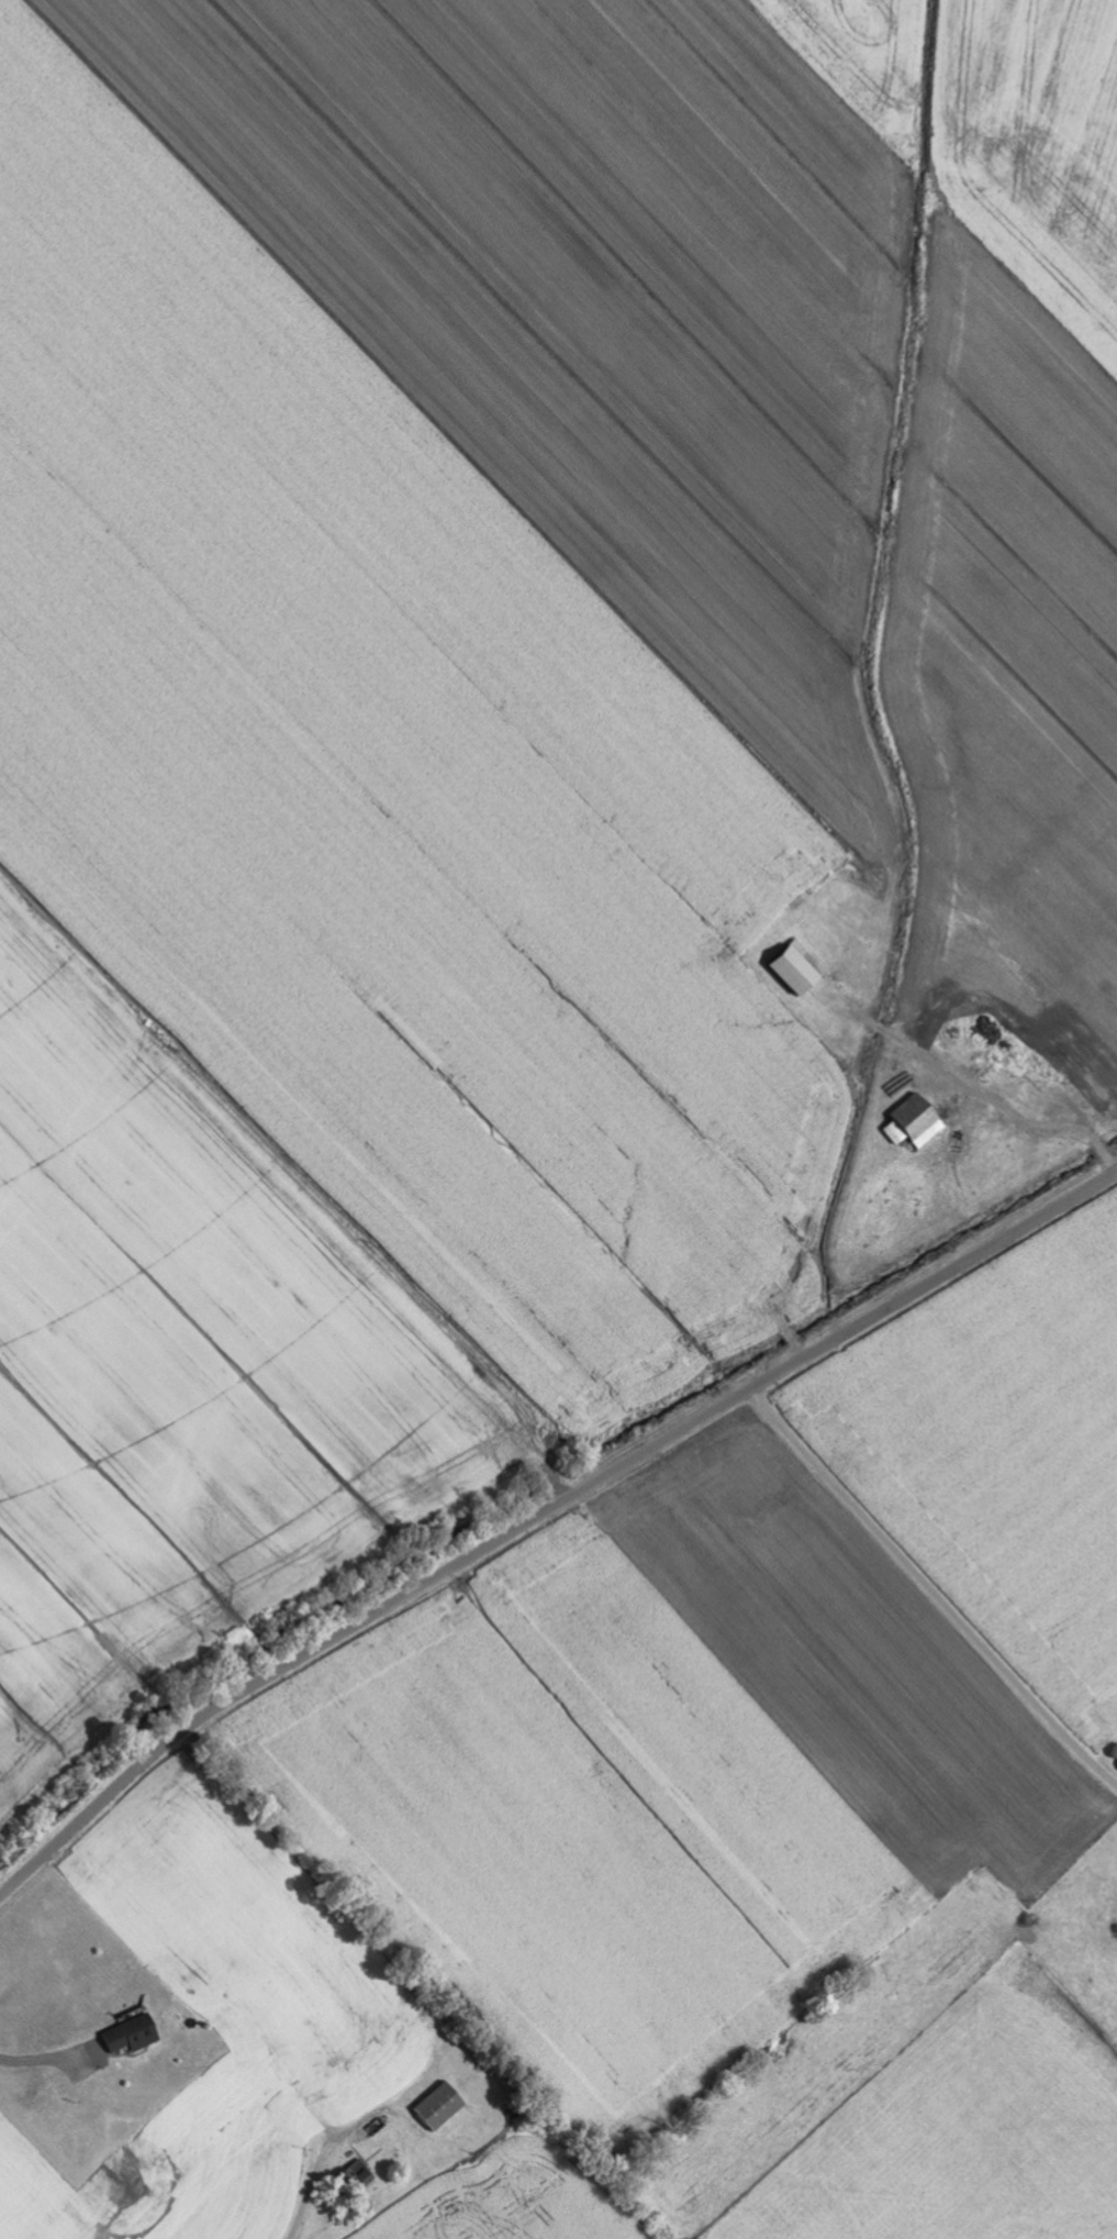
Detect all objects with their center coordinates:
building: (797, 969)
building: (917, 1123)
road: (543, 1512)
road: (934, 1587)
building: (138, 2040)
building: (442, 2106)
road: (632, 2199)

